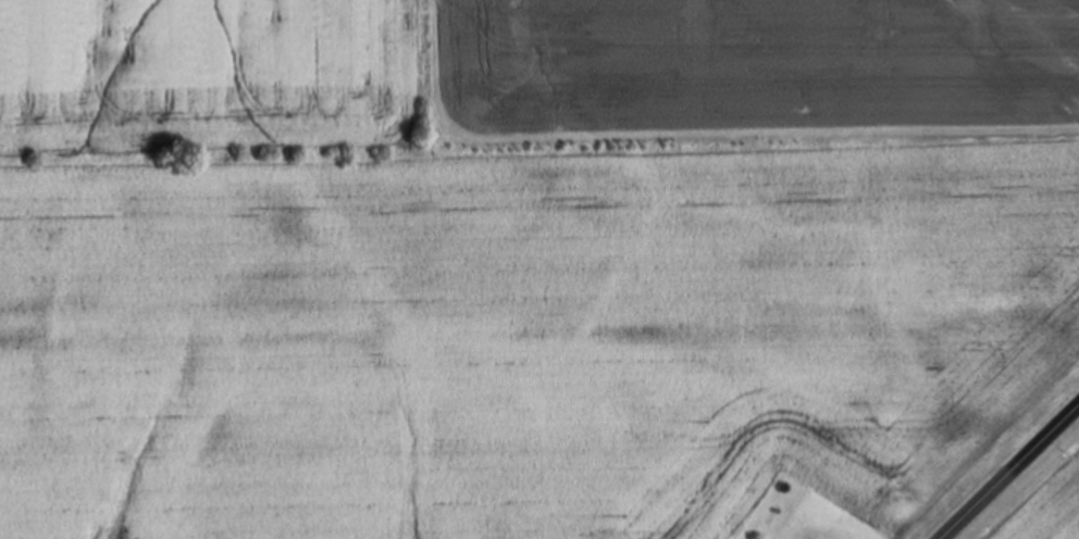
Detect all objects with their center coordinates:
road: (1010, 473)

